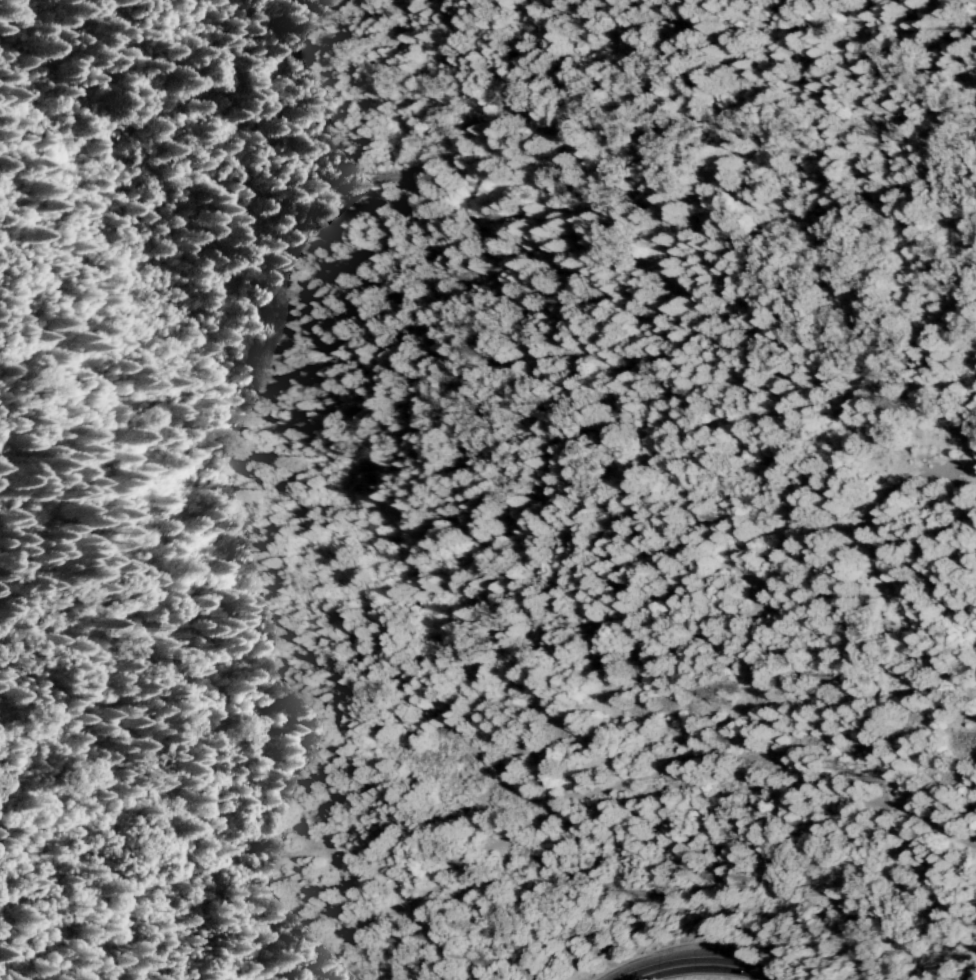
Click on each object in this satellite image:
road: (899, 485)
road: (903, 631)
road: (491, 770)
road: (740, 871)
road: (427, 884)
road: (704, 963)

